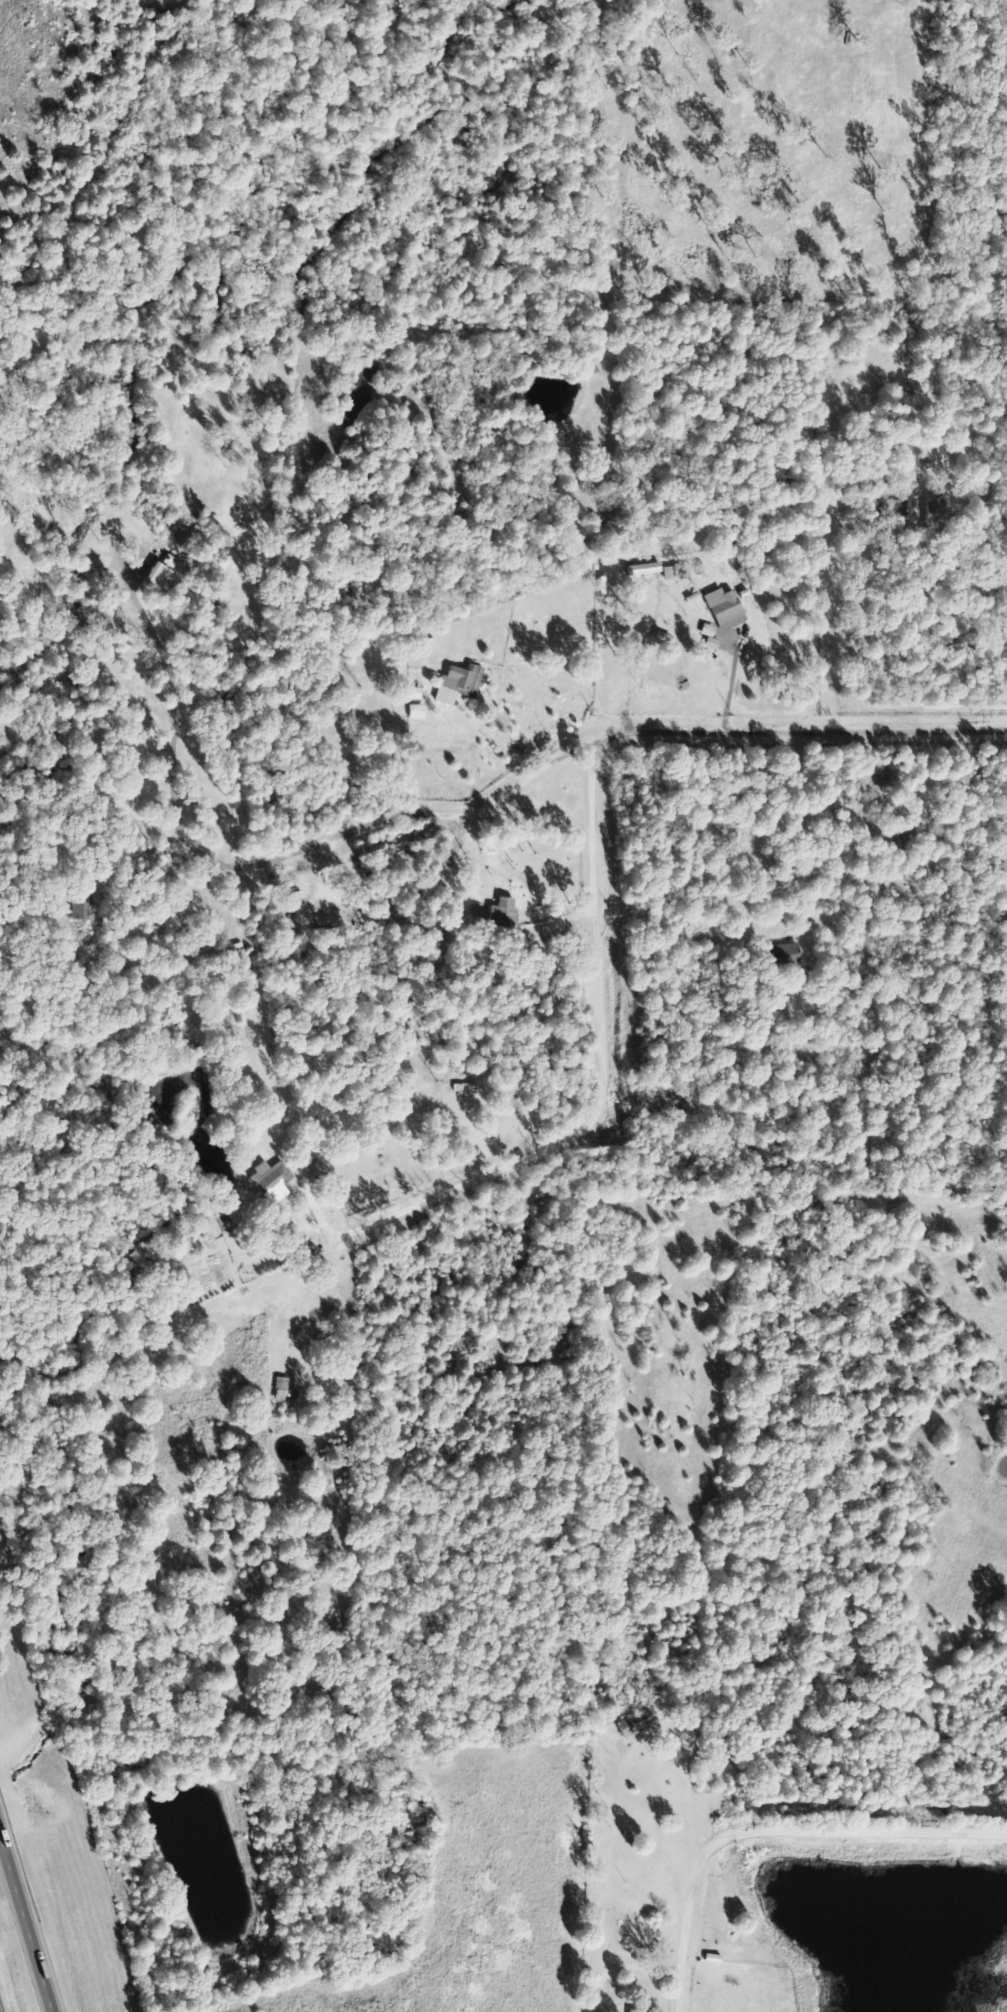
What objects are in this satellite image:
road: (7, 42)
road: (955, 565)
building: (700, 570)
building: (163, 573)
building: (667, 574)
building: (723, 610)
building: (708, 639)
building: (455, 685)
building: (415, 713)
road: (466, 811)
building: (79, 908)
building: (500, 914)
building: (783, 923)
road: (610, 941)
building: (783, 955)
building: (270, 1176)
road: (318, 1290)
building: (283, 1393)
building: (638, 1723)
road: (771, 1831)
road: (26, 1924)

